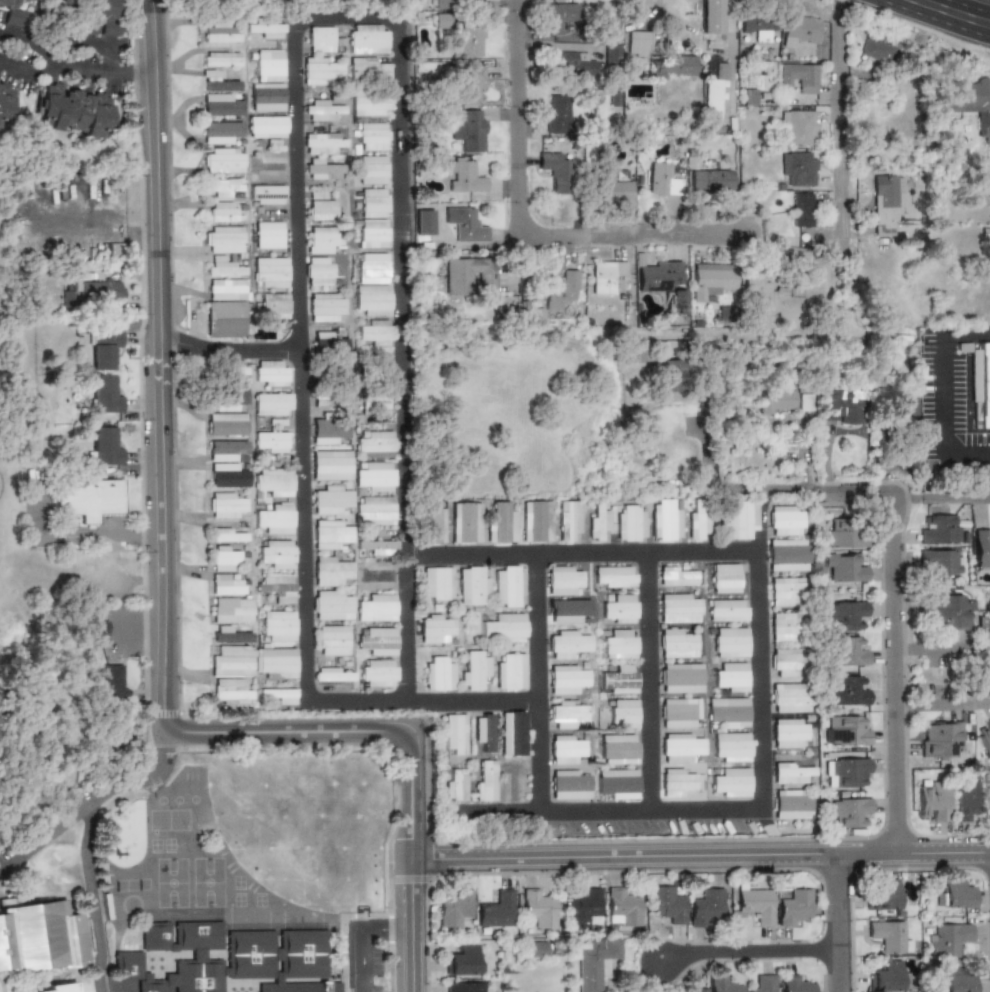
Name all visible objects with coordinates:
building: (7, 3)
building: (439, 4)
road: (970, 6)
road: (657, 8)
building: (95, 16)
building: (14, 17)
building: (559, 17)
road: (934, 19)
building: (439, 20)
building: (757, 26)
building: (266, 27)
building: (799, 28)
building: (220, 31)
road: (77, 39)
building: (321, 39)
building: (369, 39)
building: (468, 41)
building: (638, 43)
building: (876, 50)
building: (612, 51)
building: (221, 59)
road: (731, 60)
building: (574, 63)
building: (269, 65)
building: (675, 66)
building: (429, 67)
building: (320, 70)
building: (369, 70)
road: (78, 74)
building: (799, 76)
building: (217, 82)
road: (295, 83)
building: (471, 84)
building: (713, 90)
building: (749, 96)
building: (268, 97)
building: (6, 100)
building: (969, 101)
building: (220, 105)
building: (368, 105)
building: (323, 109)
building: (73, 111)
building: (911, 112)
building: (557, 114)
road: (515, 118)
building: (266, 127)
building: (798, 127)
building: (220, 131)
building: (469, 131)
building: (372, 136)
building: (322, 143)
building: (224, 159)
road: (842, 160)
building: (799, 167)
building: (372, 169)
building: (555, 169)
building: (320, 170)
building: (463, 177)
building: (663, 179)
building: (711, 180)
building: (221, 186)
building: (617, 192)
building: (267, 194)
building: (372, 202)
building: (885, 204)
building: (322, 207)
building: (801, 209)
building: (221, 212)
road: (95, 215)
building: (423, 220)
building: (464, 224)
building: (373, 233)
building: (268, 235)
building: (223, 239)
building: (324, 239)
road: (626, 239)
building: (221, 265)
building: (373, 267)
building: (319, 271)
building: (270, 272)
building: (470, 275)
building: (605, 276)
building: (712, 279)
building: (663, 283)
building: (757, 286)
building: (799, 288)
building: (99, 289)
building: (225, 289)
building: (561, 289)
building: (373, 300)
building: (275, 306)
building: (327, 308)
building: (224, 319)
building: (374, 332)
road: (965, 336)
building: (325, 343)
building: (103, 348)
road: (229, 350)
building: (637, 350)
building: (229, 368)
building: (270, 373)
building: (377, 373)
building: (668, 376)
building: (983, 385)
building: (326, 392)
building: (104, 394)
building: (773, 399)
building: (227, 400)
road: (941, 400)
building: (799, 402)
building: (272, 403)
building: (374, 403)
building: (836, 406)
building: (903, 407)
building: (226, 424)
building: (328, 430)
building: (270, 441)
building: (374, 444)
building: (104, 446)
building: (227, 450)
road: (966, 462)
building: (331, 465)
building: (228, 475)
building: (375, 477)
building: (274, 481)
road: (852, 490)
building: (88, 497)
building: (330, 498)
building: (228, 505)
building: (374, 510)
building: (275, 518)
building: (567, 518)
building: (741, 518)
road: (761, 519)
building: (536, 520)
building: (596, 520)
building: (664, 520)
building: (786, 520)
building: (465, 521)
building: (500, 522)
building: (433, 523)
building: (630, 523)
building: (698, 523)
building: (940, 530)
building: (330, 534)
building: (228, 535)
building: (845, 537)
road: (161, 541)
building: (375, 547)
building: (981, 549)
building: (276, 553)
road: (583, 554)
building: (788, 555)
building: (224, 558)
building: (940, 561)
building: (843, 567)
building: (332, 571)
building: (378, 575)
building: (678, 575)
building: (614, 576)
building: (725, 578)
building: (564, 580)
building: (437, 583)
building: (227, 584)
building: (471, 585)
building: (509, 586)
building: (275, 587)
building: (785, 591)
building: (332, 605)
building: (376, 608)
building: (679, 608)
building: (232, 609)
building: (619, 609)
building: (566, 610)
building: (727, 610)
building: (951, 611)
building: (846, 614)
building: (277, 626)
building: (784, 626)
building: (982, 626)
building: (435, 628)
building: (503, 628)
building: (332, 640)
building: (378, 641)
building: (566, 642)
building: (678, 642)
building: (730, 642)
building: (620, 644)
road: (941, 645)
building: (847, 652)
building: (231, 661)
building: (785, 662)
building: (275, 663)
building: (473, 668)
road: (891, 670)
building: (509, 671)
building: (377, 673)
building: (438, 673)
building: (333, 674)
building: (566, 678)
building: (681, 678)
building: (729, 678)
building: (619, 680)
road: (540, 682)
road: (652, 682)
building: (847, 691)
building: (231, 692)
building: (280, 695)
building: (789, 698)
road: (941, 701)
building: (624, 712)
building: (728, 712)
building: (565, 713)
building: (679, 713)
building: (846, 730)
building: (512, 733)
building: (789, 733)
building: (454, 734)
building: (941, 739)
building: (985, 740)
building: (679, 747)
building: (730, 747)
building: (566, 749)
building: (618, 749)
building: (847, 771)
building: (791, 772)
building: (485, 780)
building: (676, 781)
building: (618, 783)
building: (731, 783)
building: (455, 784)
building: (570, 784)
road: (95, 799)
building: (965, 799)
building: (931, 800)
building: (989, 800)
building: (791, 803)
road: (737, 810)
building: (849, 810)
road: (700, 851)
building: (883, 894)
building: (952, 894)
road: (89, 898)
building: (666, 903)
building: (754, 905)
building: (704, 906)
building: (793, 906)
building: (582, 907)
building: (621, 907)
building: (454, 908)
building: (537, 908)
building: (497, 910)
road: (834, 921)
road: (411, 922)
road: (386, 928)
building: (39, 936)
building: (887, 936)
building: (948, 939)
building: (536, 948)
road: (741, 953)
building: (590, 959)
building: (463, 960)
building: (230, 961)
road: (362, 962)
building: (888, 977)
building: (955, 980)
building: (722, 984)
building: (762, 984)
building: (795, 984)
building: (60, 987)
building: (463, 987)
building: (694, 990)

